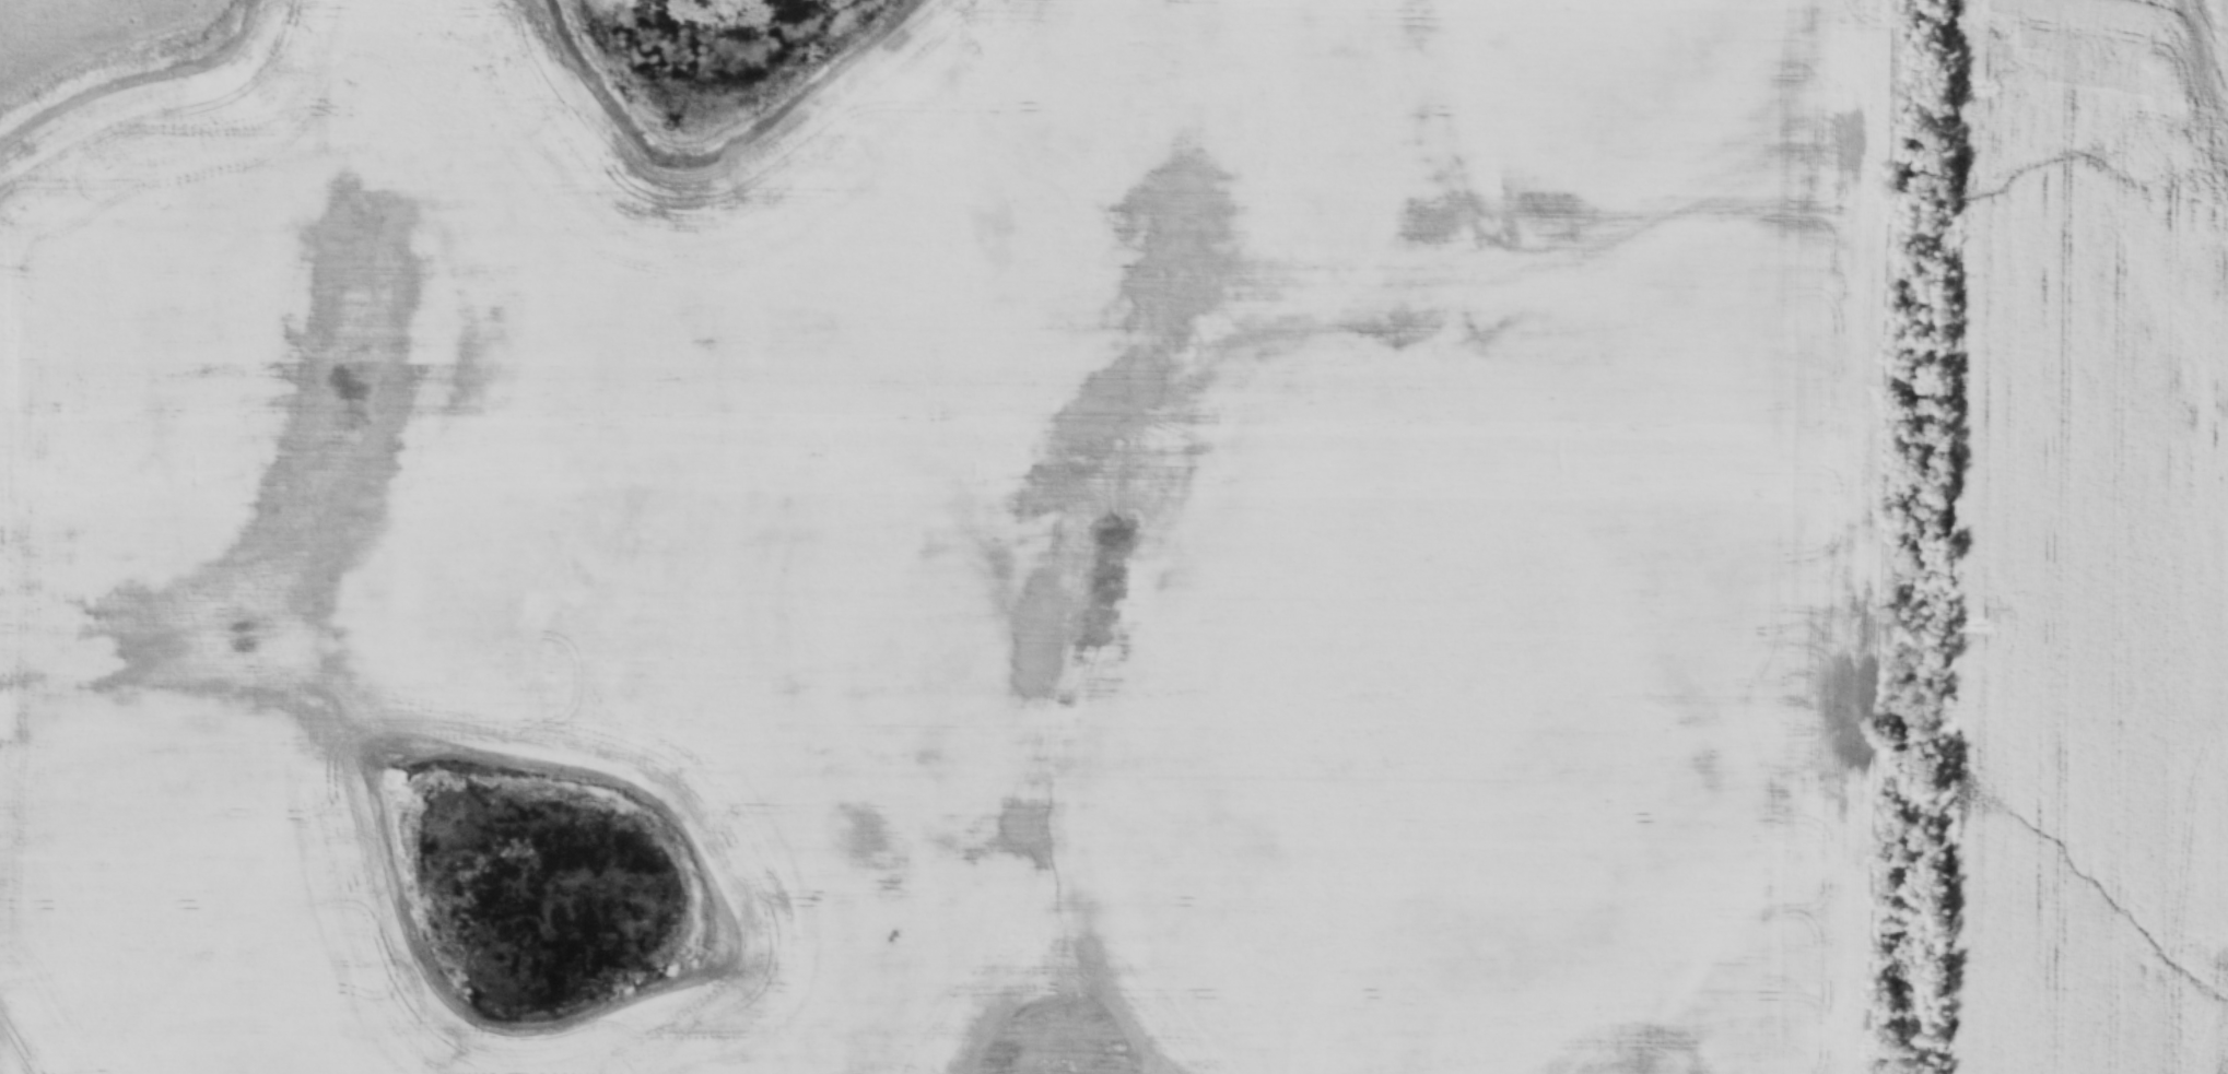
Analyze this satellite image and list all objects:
power tower: (1985, 86)
power tower: (1980, 626)

